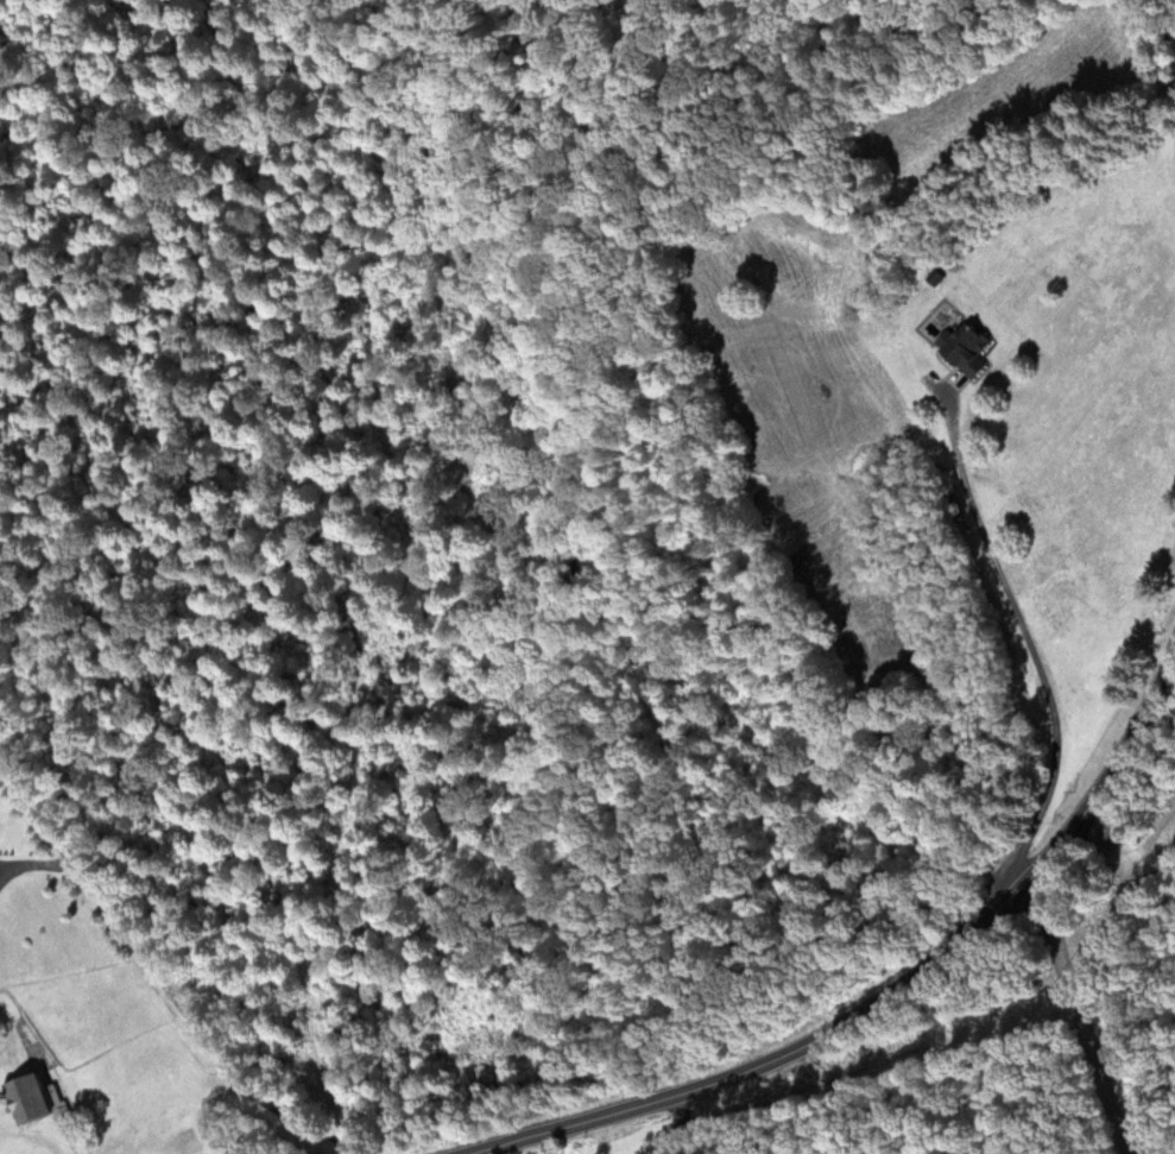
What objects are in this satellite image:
building: (967, 347)
road: (160, 978)
road: (887, 996)
building: (38, 1101)

